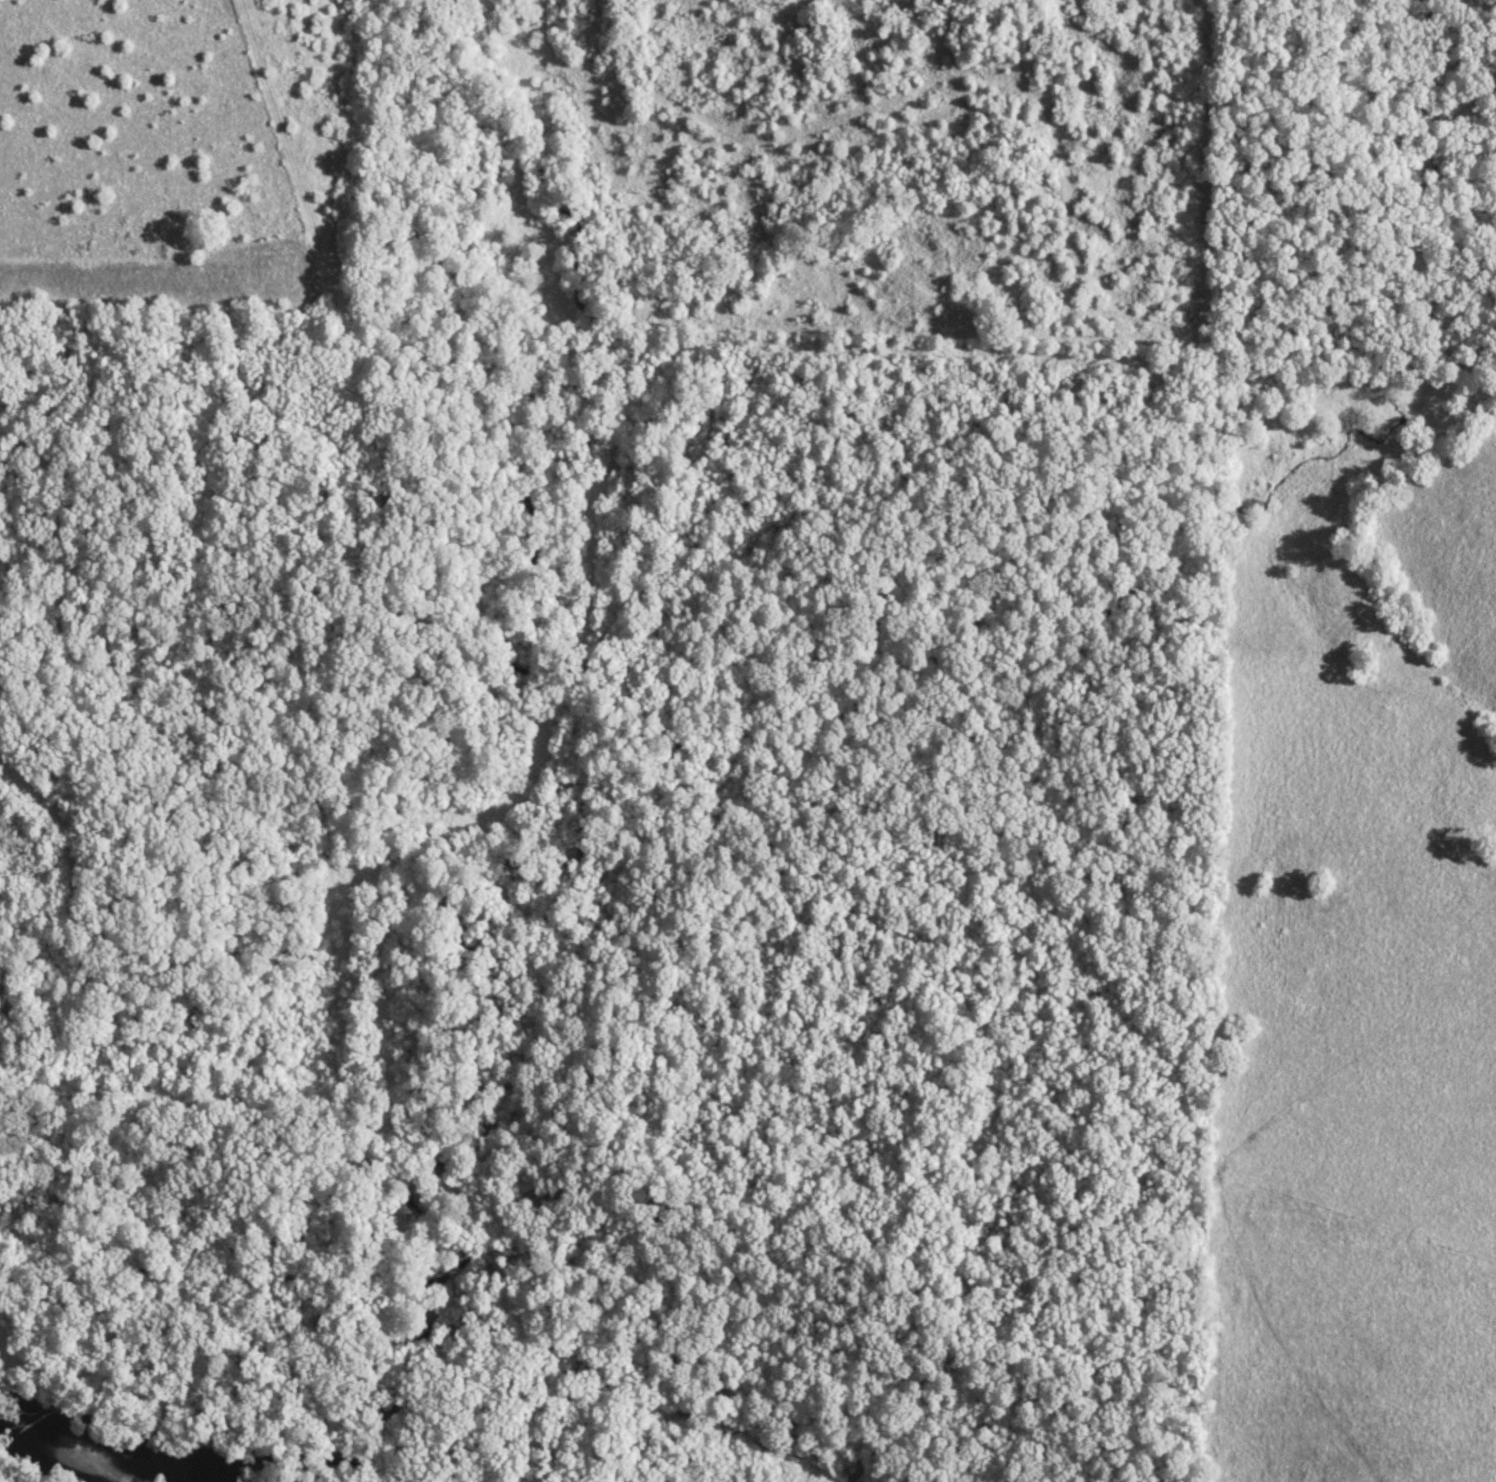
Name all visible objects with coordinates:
river: (86, 1452)

